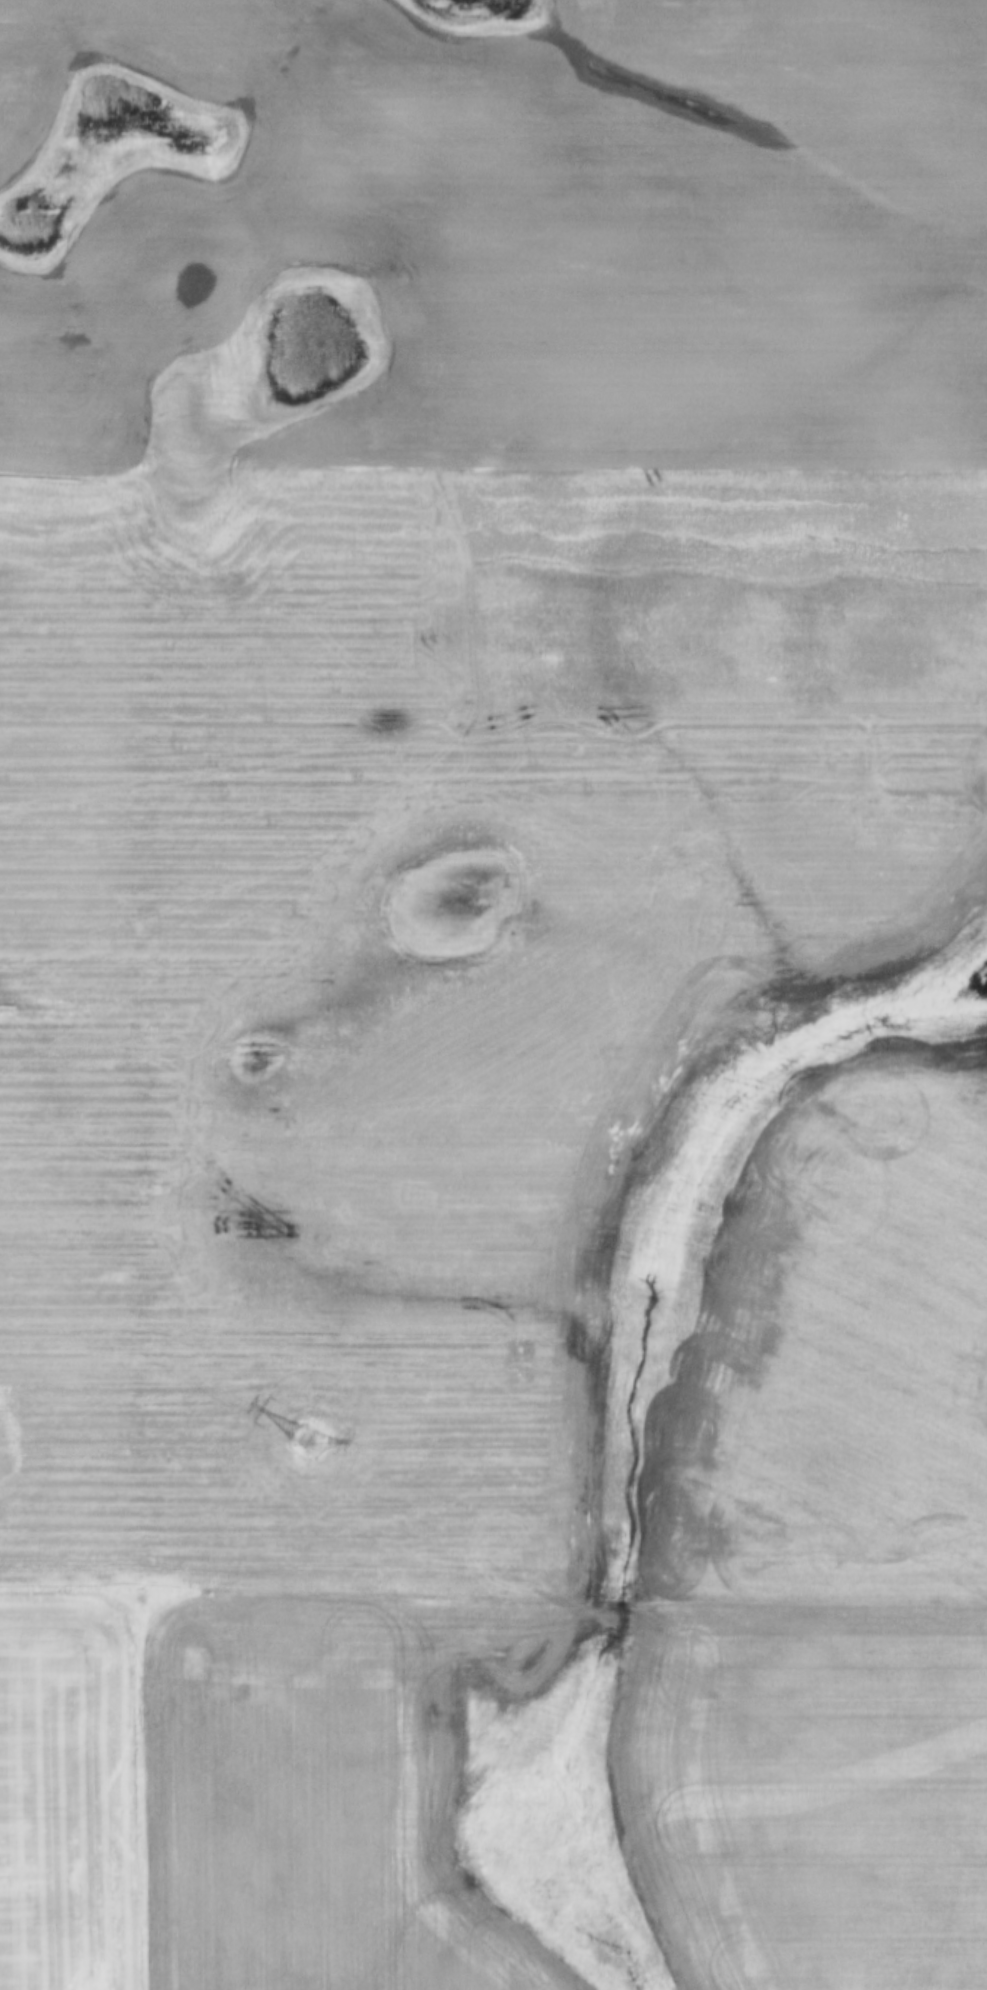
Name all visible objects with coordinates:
power tower: (310, 1446)

